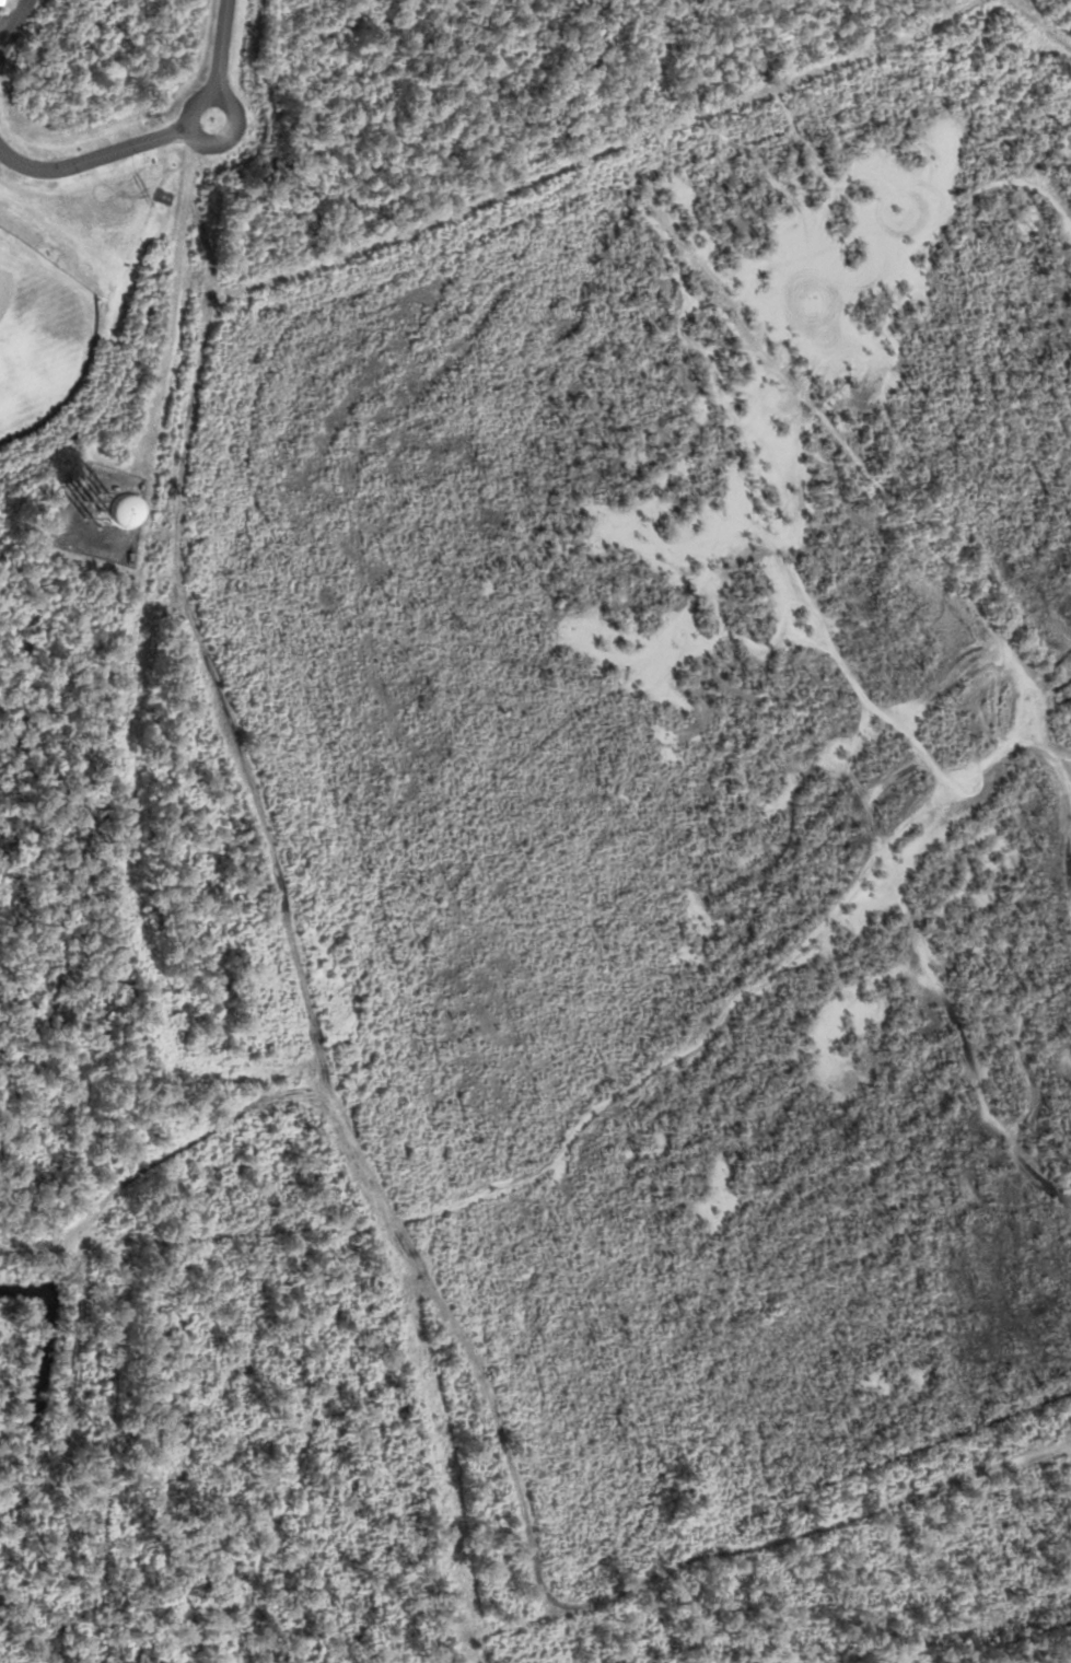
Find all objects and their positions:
road: (13, 22)
road: (5, 24)
road: (220, 49)
road: (190, 121)
road: (93, 156)
park: (39, 335)
water tower: (101, 510)

